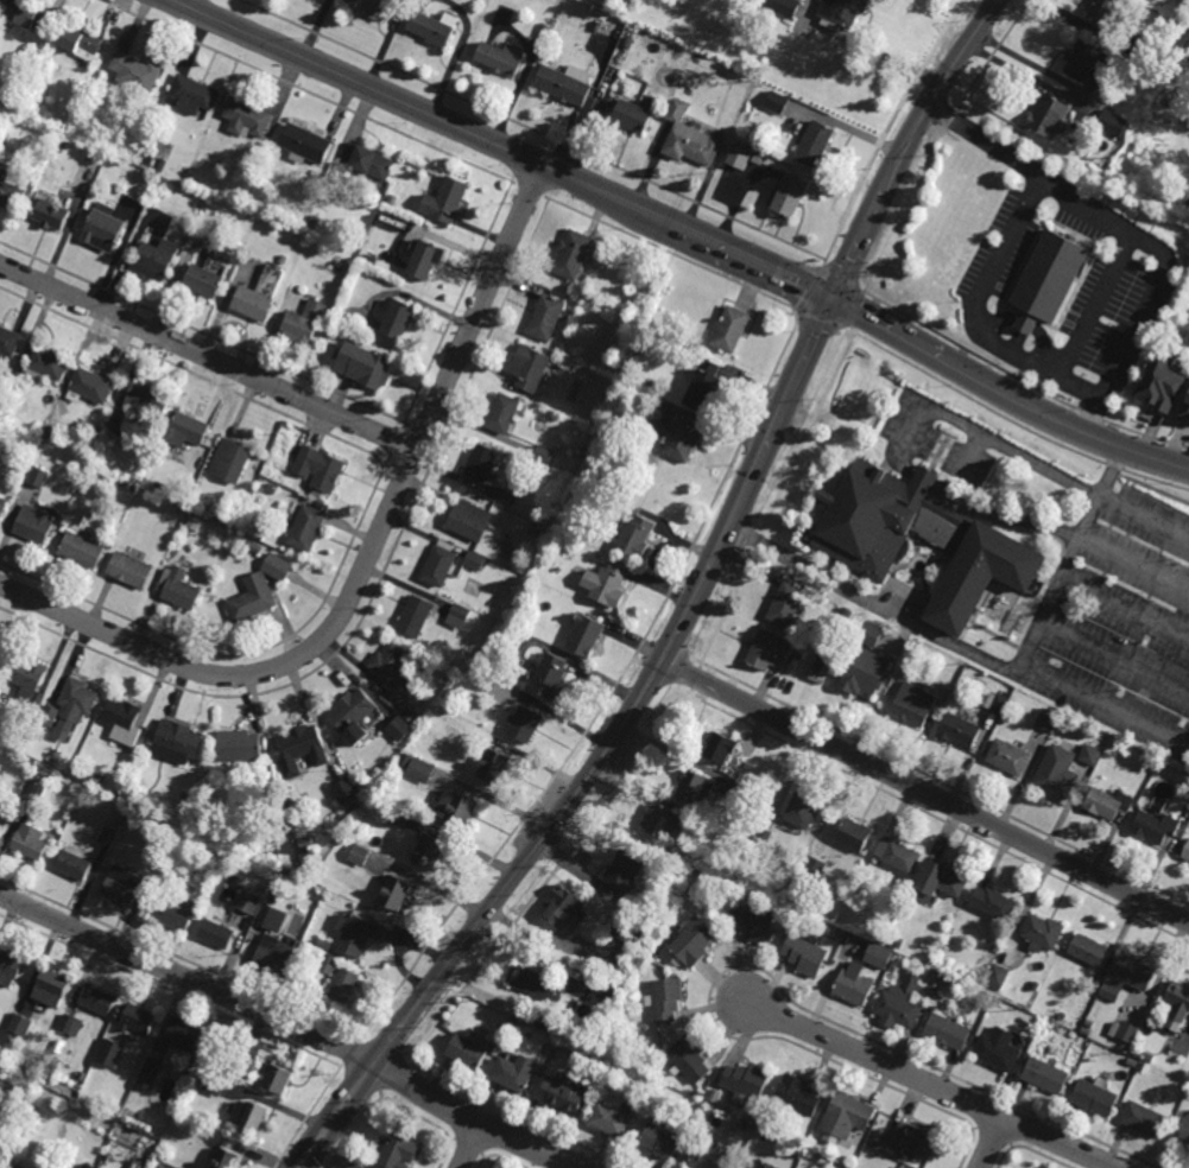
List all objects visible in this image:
building: (785, 6)
building: (374, 7)
building: (20, 12)
building: (843, 13)
building: (1108, 14)
building: (1178, 18)
building: (597, 26)
building: (434, 27)
building: (544, 30)
building: (80, 42)
building: (630, 43)
road: (962, 51)
building: (1144, 51)
building: (500, 58)
building: (1086, 62)
building: (135, 71)
building: (567, 84)
building: (191, 94)
road: (1070, 94)
building: (14, 103)
building: (778, 103)
building: (1049, 116)
building: (246, 118)
building: (633, 118)
building: (1113, 125)
building: (689, 135)
building: (304, 144)
building: (817, 145)
building: (744, 158)
building: (152, 160)
building: (366, 161)
building: (160, 167)
building: (317, 180)
building: (163, 182)
building: (11, 190)
building: (792, 197)
building: (391, 201)
building: (445, 201)
road: (630, 205)
building: (52, 215)
building: (312, 221)
building: (103, 228)
road: (1130, 231)
building: (573, 255)
building: (154, 259)
building: (282, 260)
building: (426, 261)
building: (340, 265)
building: (1049, 280)
building: (203, 281)
building: (259, 296)
traffic signals: (833, 299)
road: (1095, 305)
road: (974, 311)
building: (337, 317)
building: (545, 318)
building: (399, 320)
road: (998, 322)
building: (304, 324)
road: (1025, 325)
building: (732, 331)
building: (10, 343)
road: (1044, 349)
road: (208, 357)
building: (49, 367)
building: (368, 369)
building: (529, 369)
building: (703, 383)
building: (1165, 383)
building: (93, 387)
building: (147, 402)
building: (1187, 411)
building: (501, 412)
building: (51, 429)
building: (186, 430)
building: (125, 432)
building: (679, 436)
road: (988, 438)
building: (29, 442)
building: (543, 452)
road: (1133, 452)
building: (230, 459)
building: (480, 462)
road: (902, 463)
building: (320, 466)
road: (1109, 474)
building: (38, 476)
building: (103, 477)
road: (924, 478)
building: (0, 483)
building: (577, 484)
building: (317, 494)
building: (500, 494)
building: (2, 504)
building: (177, 510)
road: (1005, 515)
building: (469, 519)
road: (1143, 520)
building: (36, 522)
building: (194, 525)
building: (306, 527)
building: (635, 535)
building: (254, 546)
building: (858, 546)
building: (81, 550)
building: (475, 560)
building: (441, 563)
road: (1134, 563)
road: (365, 565)
building: (277, 566)
building: (128, 570)
building: (608, 583)
building: (177, 588)
building: (252, 603)
building: (786, 603)
road: (873, 603)
road: (1125, 610)
building: (416, 616)
building: (458, 616)
building: (526, 628)
building: (799, 628)
building: (872, 634)
building: (586, 635)
building: (0, 649)
building: (767, 650)
road: (1115, 654)
building: (390, 661)
building: (821, 662)
road: (1022, 665)
road: (664, 667)
building: (867, 671)
building: (26, 677)
building: (551, 677)
building: (77, 696)
building: (399, 696)
building: (995, 703)
building: (912, 704)
building: (27, 711)
building: (409, 713)
building: (353, 715)
building: (48, 716)
building: (1046, 719)
building: (124, 722)
building: (526, 723)
building: (399, 729)
building: (959, 730)
building: (176, 742)
building: (238, 747)
building: (721, 748)
building: (299, 749)
building: (1090, 755)
building: (1007, 757)
building: (407, 760)
building: (152, 764)
building: (494, 766)
building: (420, 770)
building: (96, 780)
building: (1057, 780)
building: (33, 788)
building: (696, 788)
building: (344, 792)
building: (742, 792)
building: (163, 794)
road: (928, 794)
building: (1107, 804)
building: (456, 807)
building: (0, 810)
building: (804, 810)
building: (399, 817)
building: (664, 820)
building: (1155, 827)
building: (108, 836)
building: (854, 836)
building: (29, 840)
building: (305, 843)
building: (238, 845)
building: (429, 851)
building: (1185, 853)
building: (358, 855)
building: (896, 855)
building: (305, 859)
building: (74, 867)
building: (815, 868)
building: (622, 875)
building: (938, 882)
building: (122, 887)
building: (259, 889)
building: (396, 893)
building: (845, 896)
building: (271, 900)
building: (665, 901)
building: (854, 901)
building: (247, 902)
building: (993, 903)
building: (565, 910)
building: (172, 912)
building: (215, 918)
building: (274, 920)
building: (754, 925)
building: (880, 929)
building: (630, 931)
building: (1042, 933)
building: (215, 934)
building: (359, 934)
building: (878, 939)
building: (691, 941)
building: (897, 942)
building: (324, 945)
building: (1088, 951)
building: (807, 956)
building: (878, 957)
building: (273, 959)
building: (328, 965)
building: (10, 967)
building: (1134, 973)
building: (997, 976)
building: (976, 977)
building: (1098, 980)
building: (535, 983)
building: (854, 985)
building: (343, 986)
building: (1037, 986)
building: (52, 988)
building: (930, 992)
building: (613, 994)
building: (97, 1001)
building: (666, 1001)
building: (995, 1002)
building: (1177, 1004)
building: (898, 1005)
building: (603, 1008)
building: (139, 1020)
building: (543, 1023)
building: (72, 1024)
road: (291, 1026)
building: (516, 1026)
building: (17, 1028)
building: (947, 1031)
building: (1127, 1031)
building: (182, 1035)
building: (1138, 1037)
building: (997, 1050)
building: (110, 1053)
building: (469, 1054)
building: (690, 1061)
building: (24, 1065)
building: (150, 1074)
building: (517, 1074)
building: (1045, 1075)
building: (277, 1081)
building: (747, 1083)
building: (213, 1084)
road: (932, 1084)
building: (590, 1087)
building: (700, 1096)
building: (798, 1097)
building: (1095, 1097)
building: (563, 1098)
building: (101, 1102)
building: (248, 1118)
building: (846, 1118)
building: (1144, 1119)
building: (612, 1121)
building: (1184, 1130)
building: (5, 1137)
building: (879, 1137)
building: (915, 1140)
building: (662, 1142)
building: (814, 1142)
road: (991, 1142)
road: (470, 1145)
building: (398, 1153)
building: (226, 1160)
building: (369, 1160)
building: (709, 1160)
building: (87, 1166)
building: (354, 1166)
building: (2, 1167)
building: (6, 1167)
building: (160, 1167)
building: (746, 1167)
building: (748, 1167)
building: (898, 1167)
building: (900, 1167)

